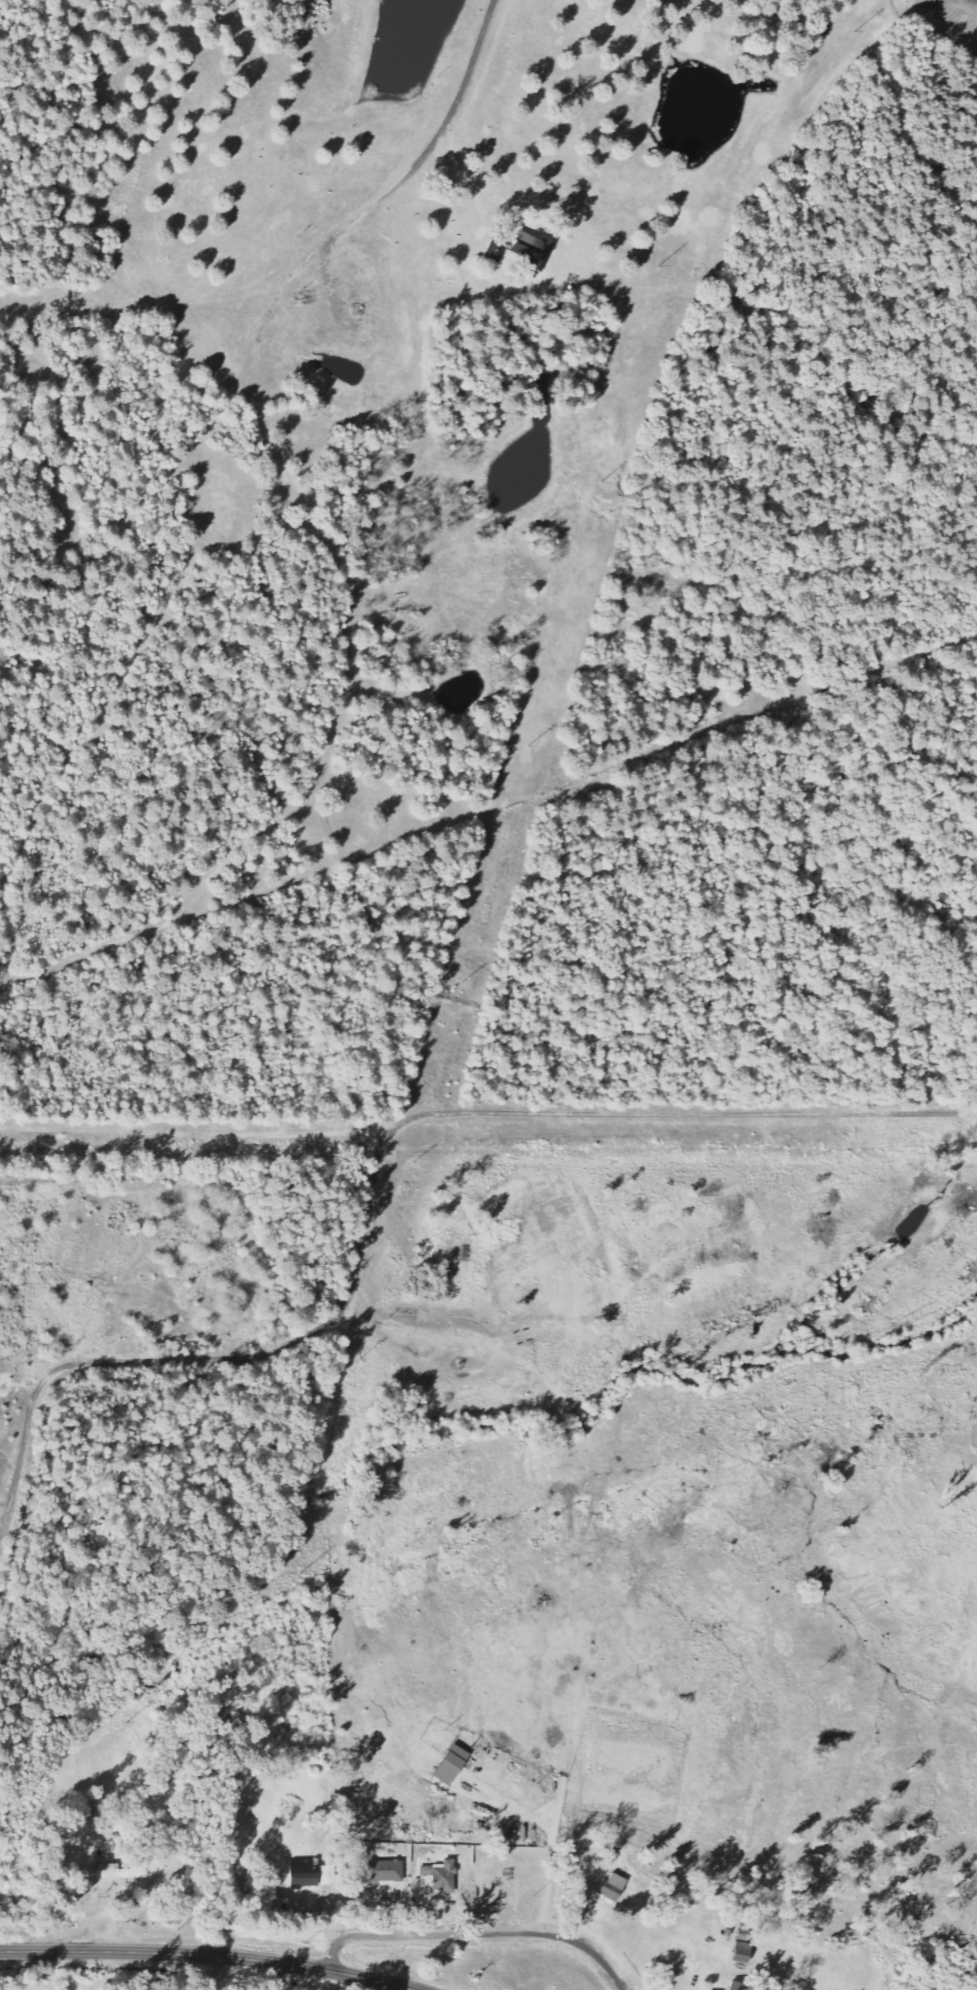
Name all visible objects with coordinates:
building: (497, 251)
building: (533, 252)
building: (454, 1765)
building: (315, 1872)
building: (122, 1873)
building: (615, 1887)
road: (111, 1913)
road: (476, 1933)
building: (746, 1947)
road: (209, 1955)
building: (739, 1986)

